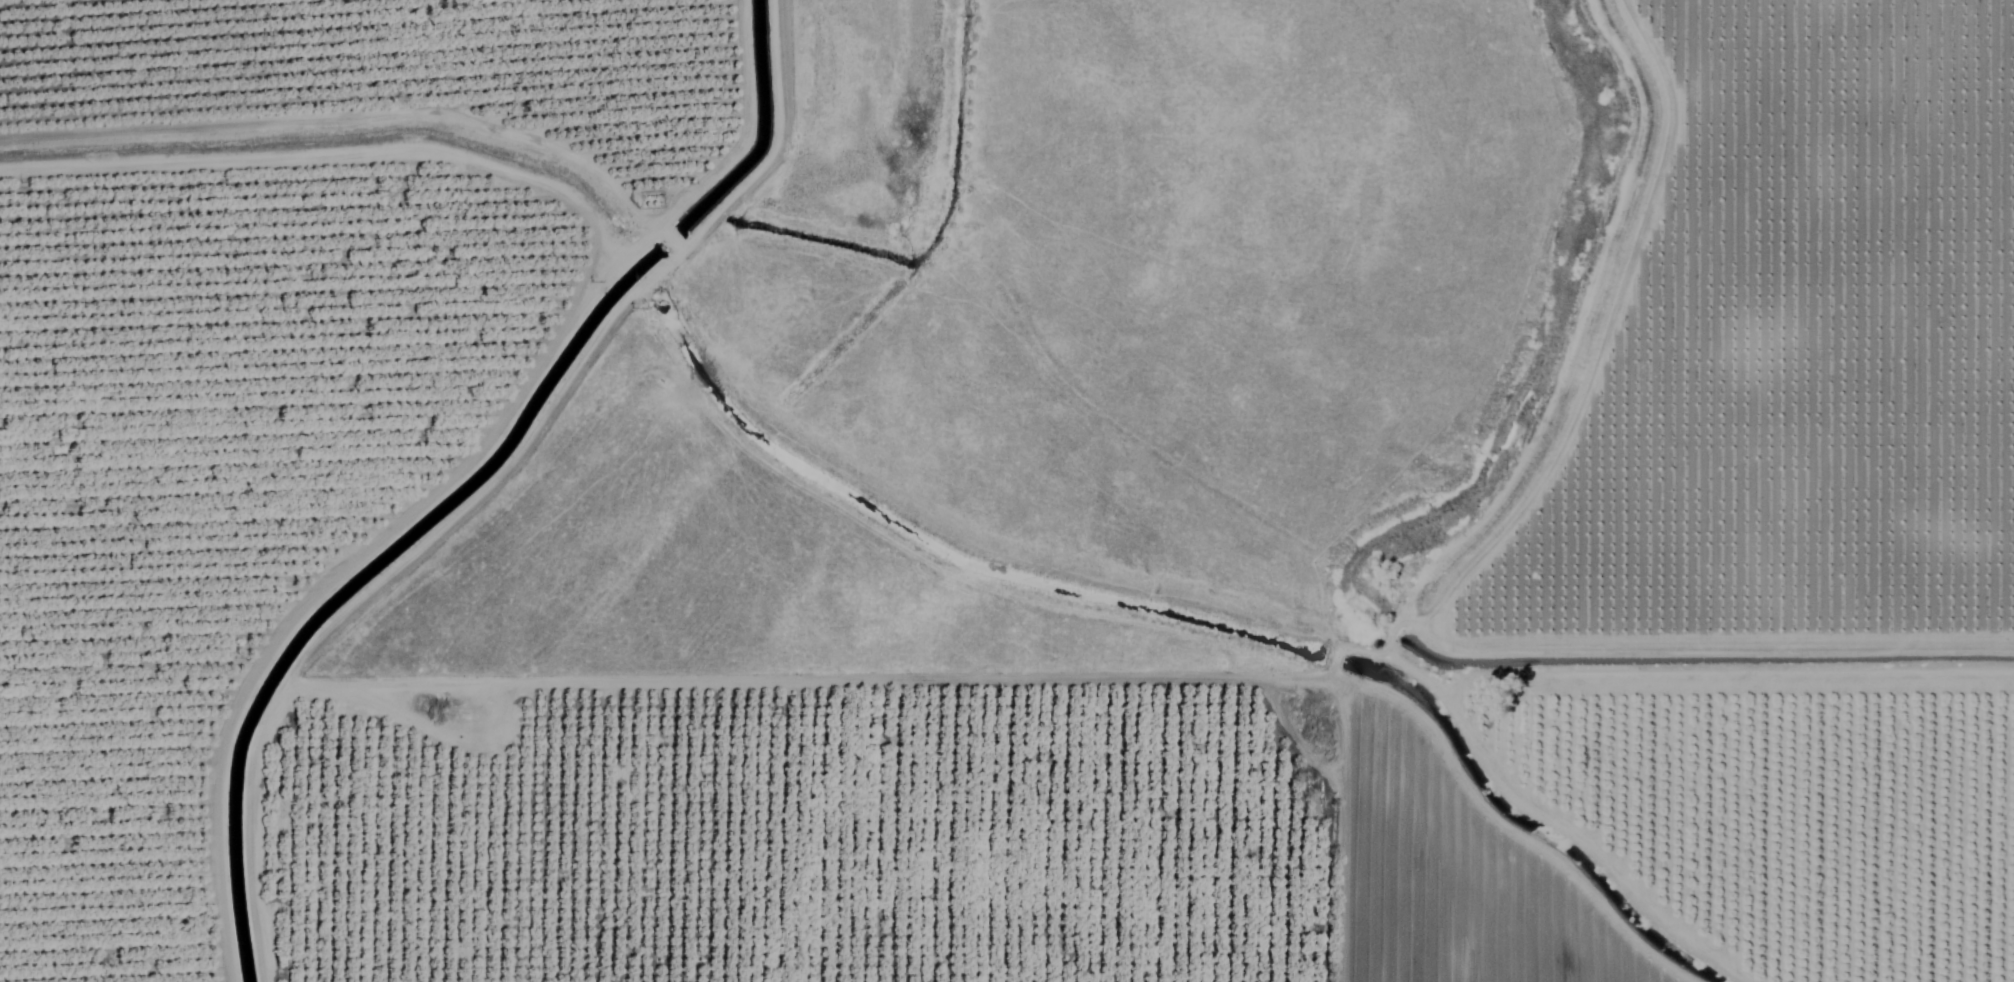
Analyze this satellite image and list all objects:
road: (753, 313)
crop: (238, 459)
road: (1569, 538)
road: (1789, 689)

